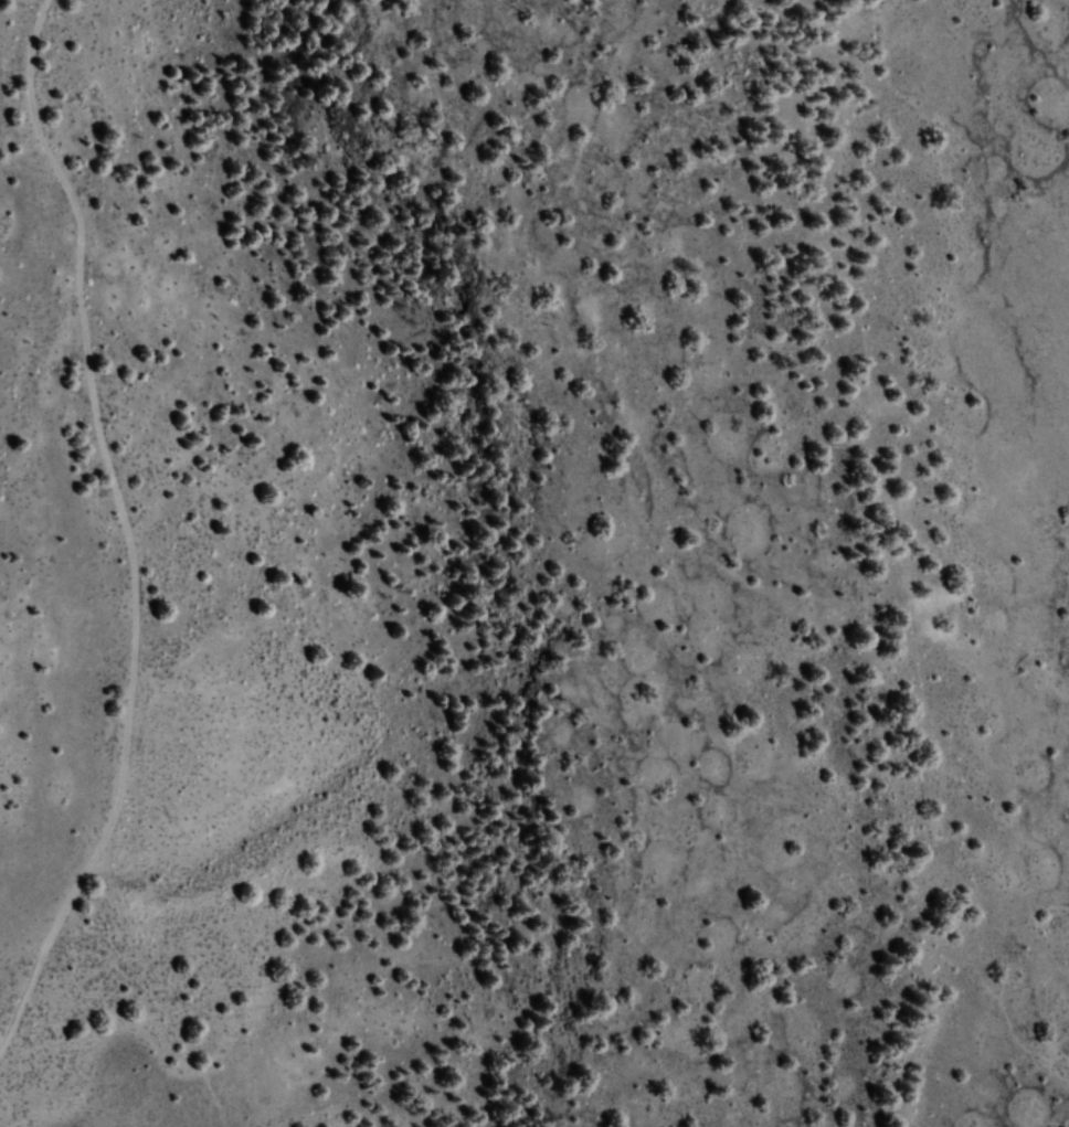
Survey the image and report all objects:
road: (129, 532)

